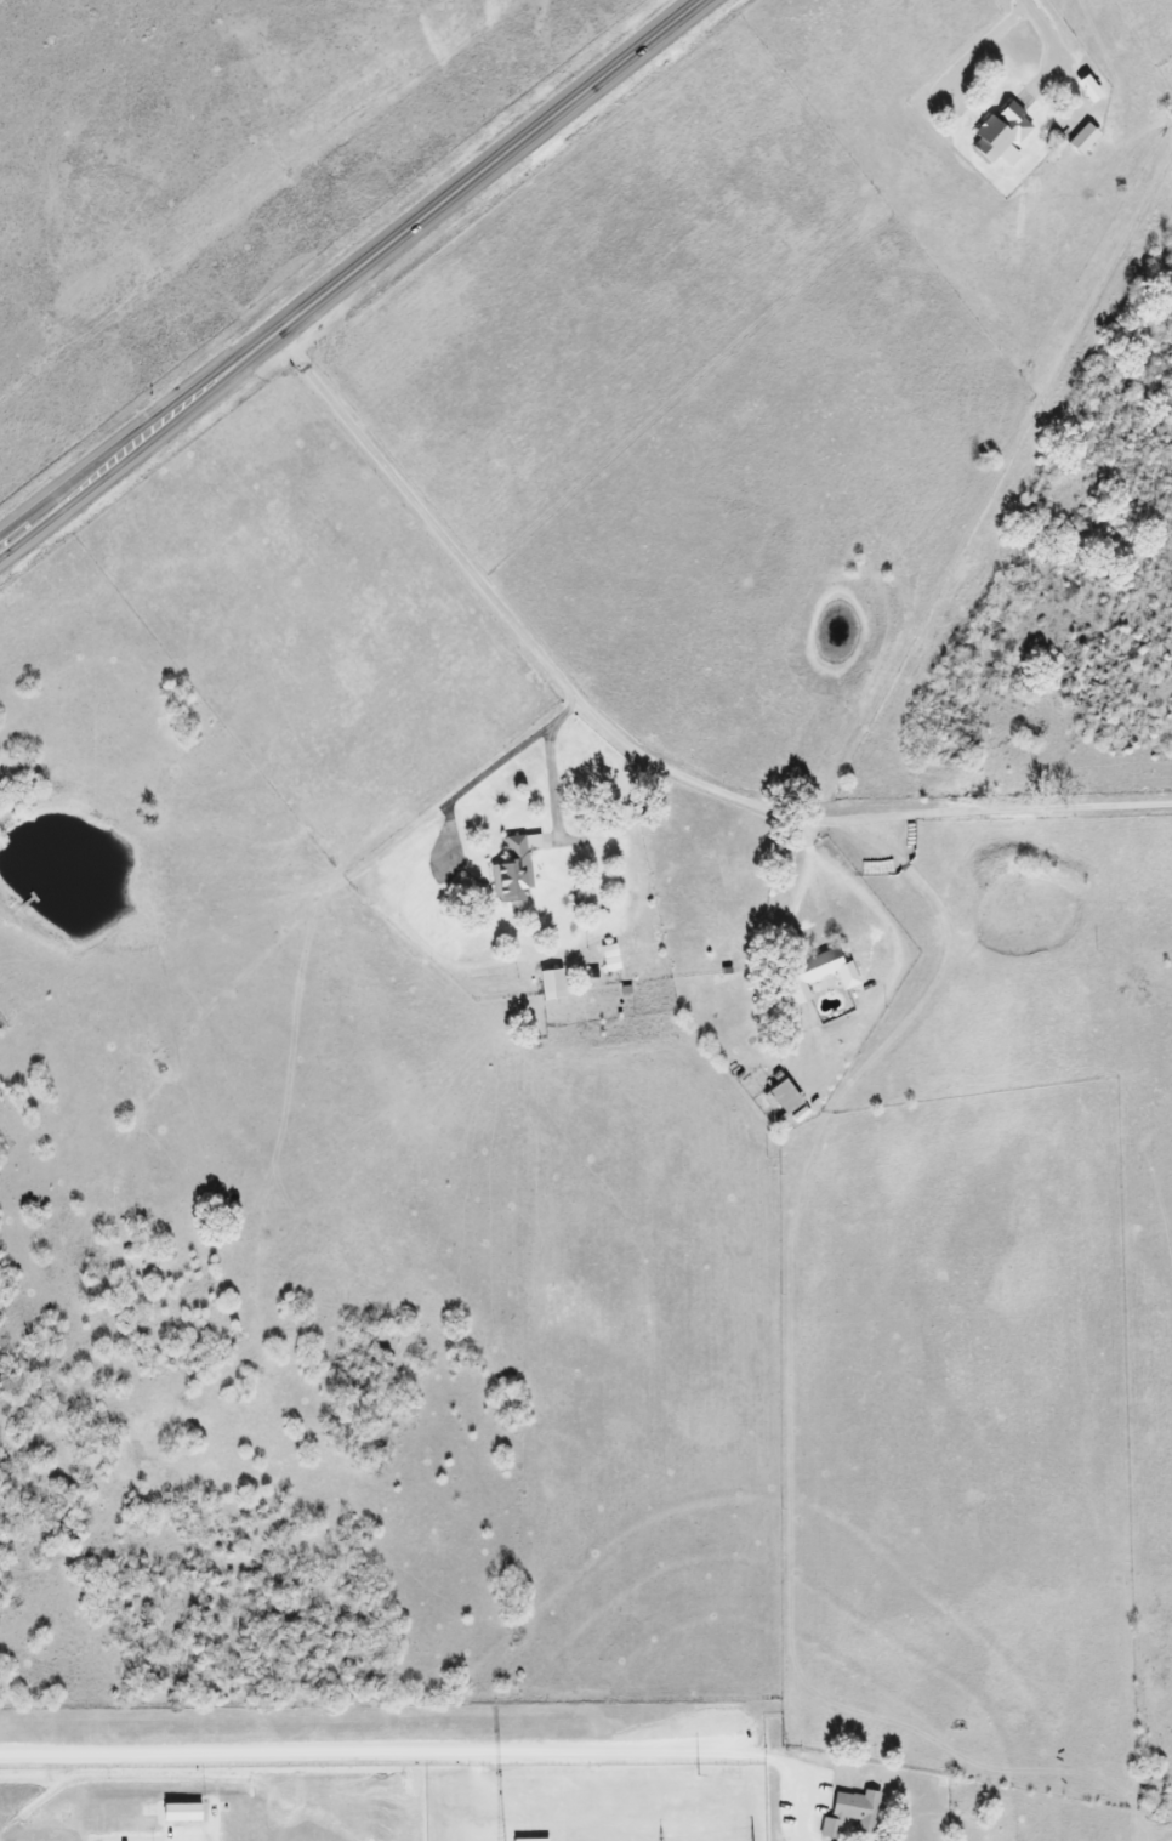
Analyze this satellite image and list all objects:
road: (1096, 69)
building: (1092, 90)
building: (1003, 135)
building: (1086, 138)
road: (352, 272)
building: (518, 871)
building: (584, 897)
building: (613, 958)
building: (821, 967)
building: (554, 985)
building: (791, 1102)
power substation: (596, 1802)
building: (186, 1811)
building: (852, 1813)
building: (534, 1840)

